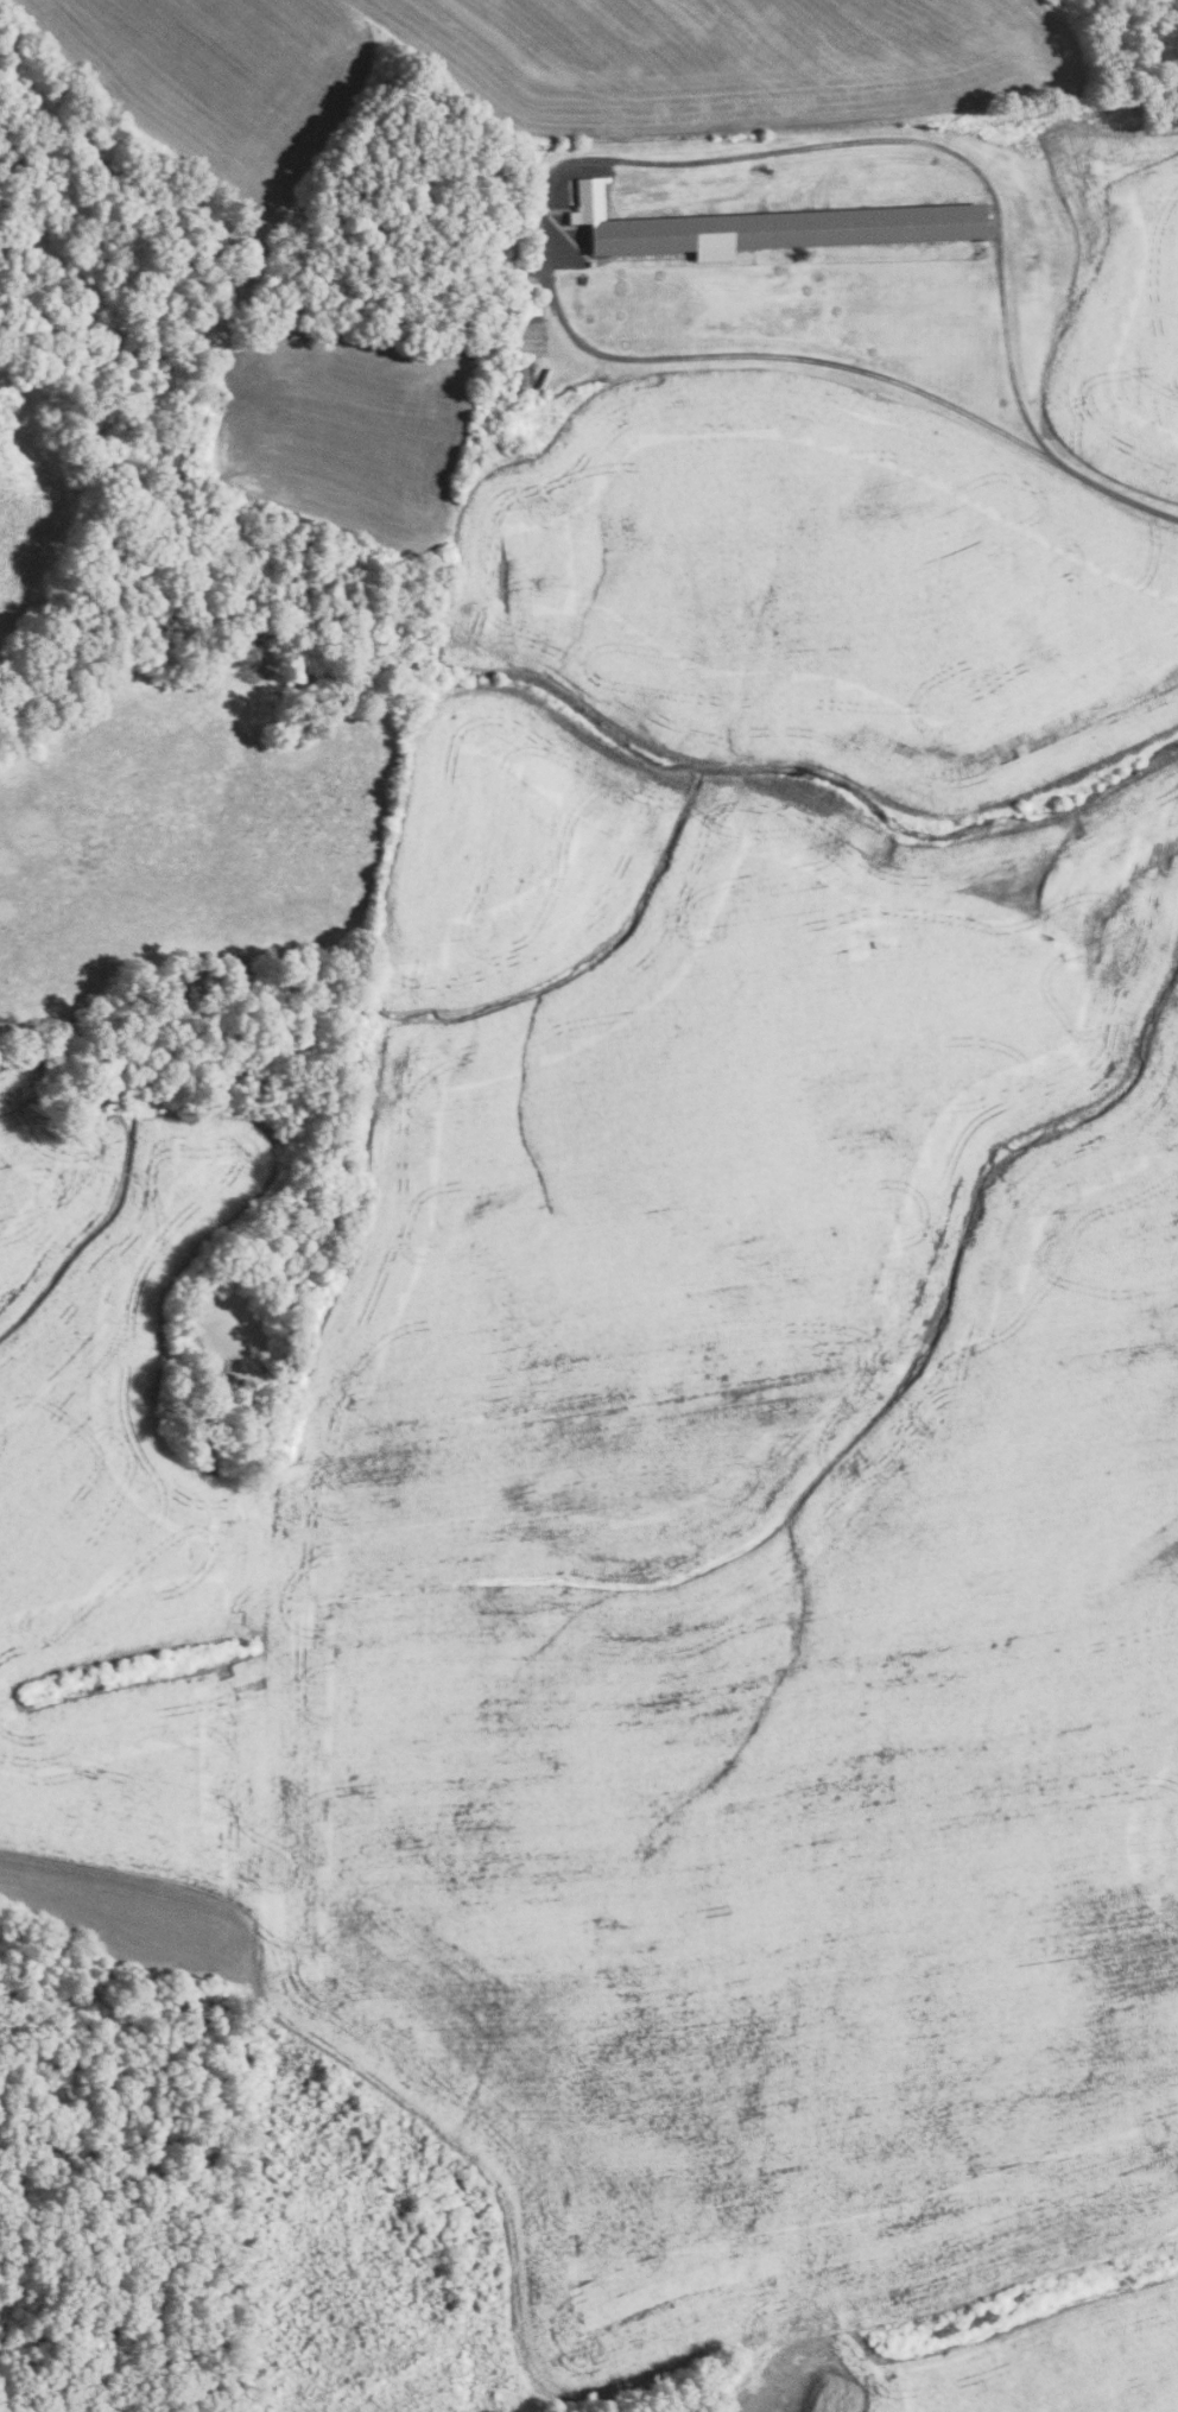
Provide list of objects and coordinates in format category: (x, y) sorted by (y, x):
crop: (733, 64)
crop: (213, 75)
road: (583, 162)
building: (769, 227)
building: (526, 340)
building: (519, 373)
crop: (343, 420)
road: (1115, 494)
crop: (821, 594)
crop: (123, 1505)
crop: (750, 1570)
crop: (137, 1925)
crop: (1092, 2388)

